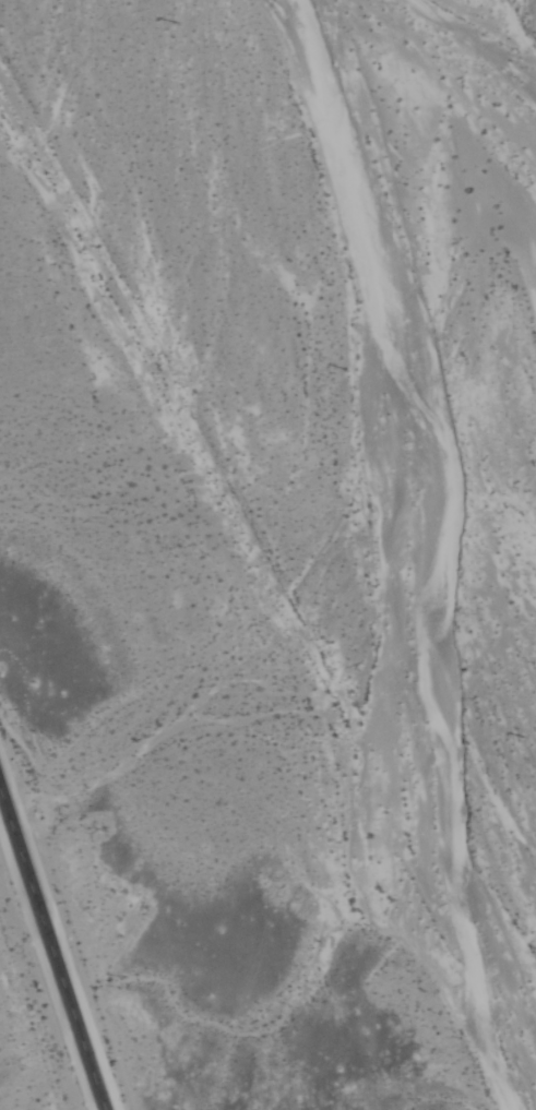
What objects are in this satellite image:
river: (491, 110)
road: (53, 943)

